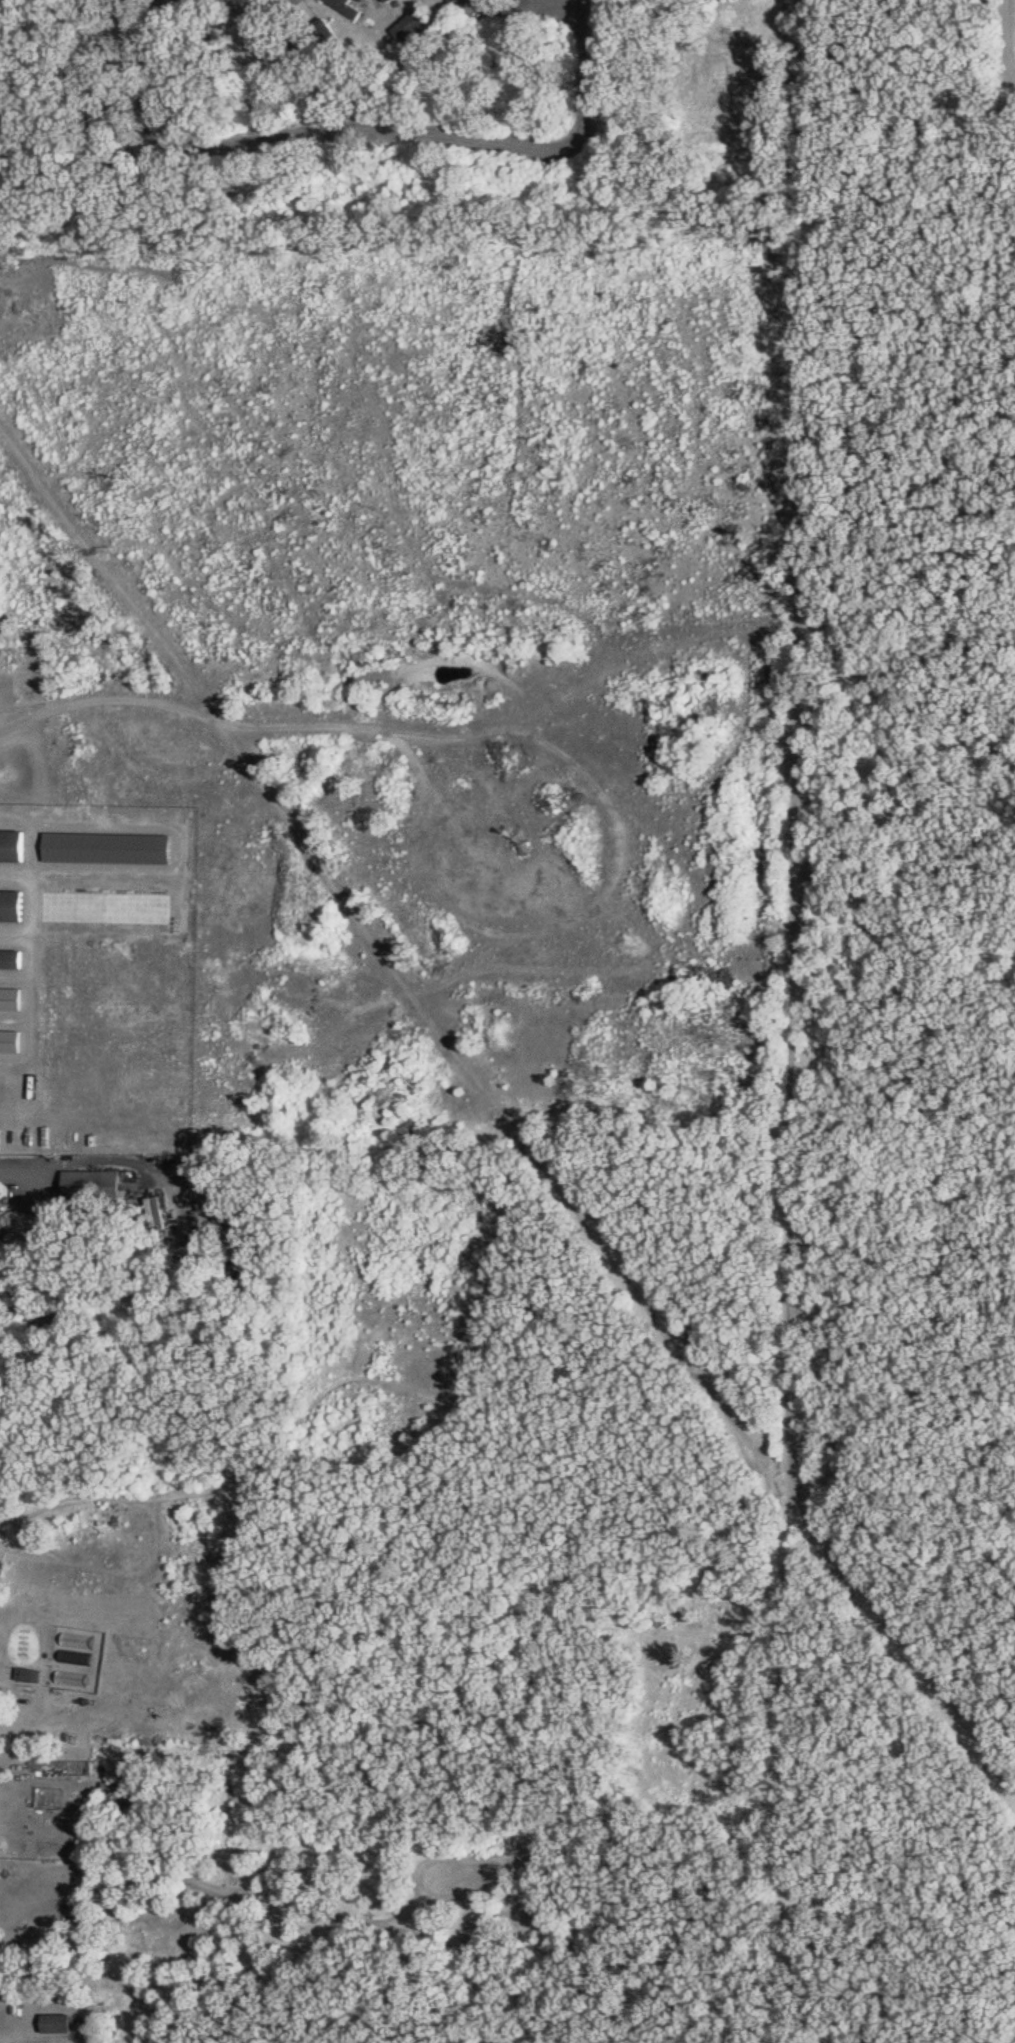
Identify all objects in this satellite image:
building: (390, 0)
road: (225, 4)
road: (523, 9)
building: (413, 25)
building: (206, 46)
building: (239, 46)
building: (267, 47)
building: (109, 48)
wastewater plant: (1010, 48)
building: (294, 49)
road: (157, 69)
road: (591, 74)
building: (109, 104)
road: (370, 129)
building: (107, 133)
building: (121, 165)
road: (107, 697)
building: (13, 846)
building: (12, 905)
building: (12, 959)
road: (20, 1176)
building: (93, 1187)
building: (71, 1311)
road: (780, 1479)
building: (28, 1674)
building: (58, 2022)
road: (7, 2041)

